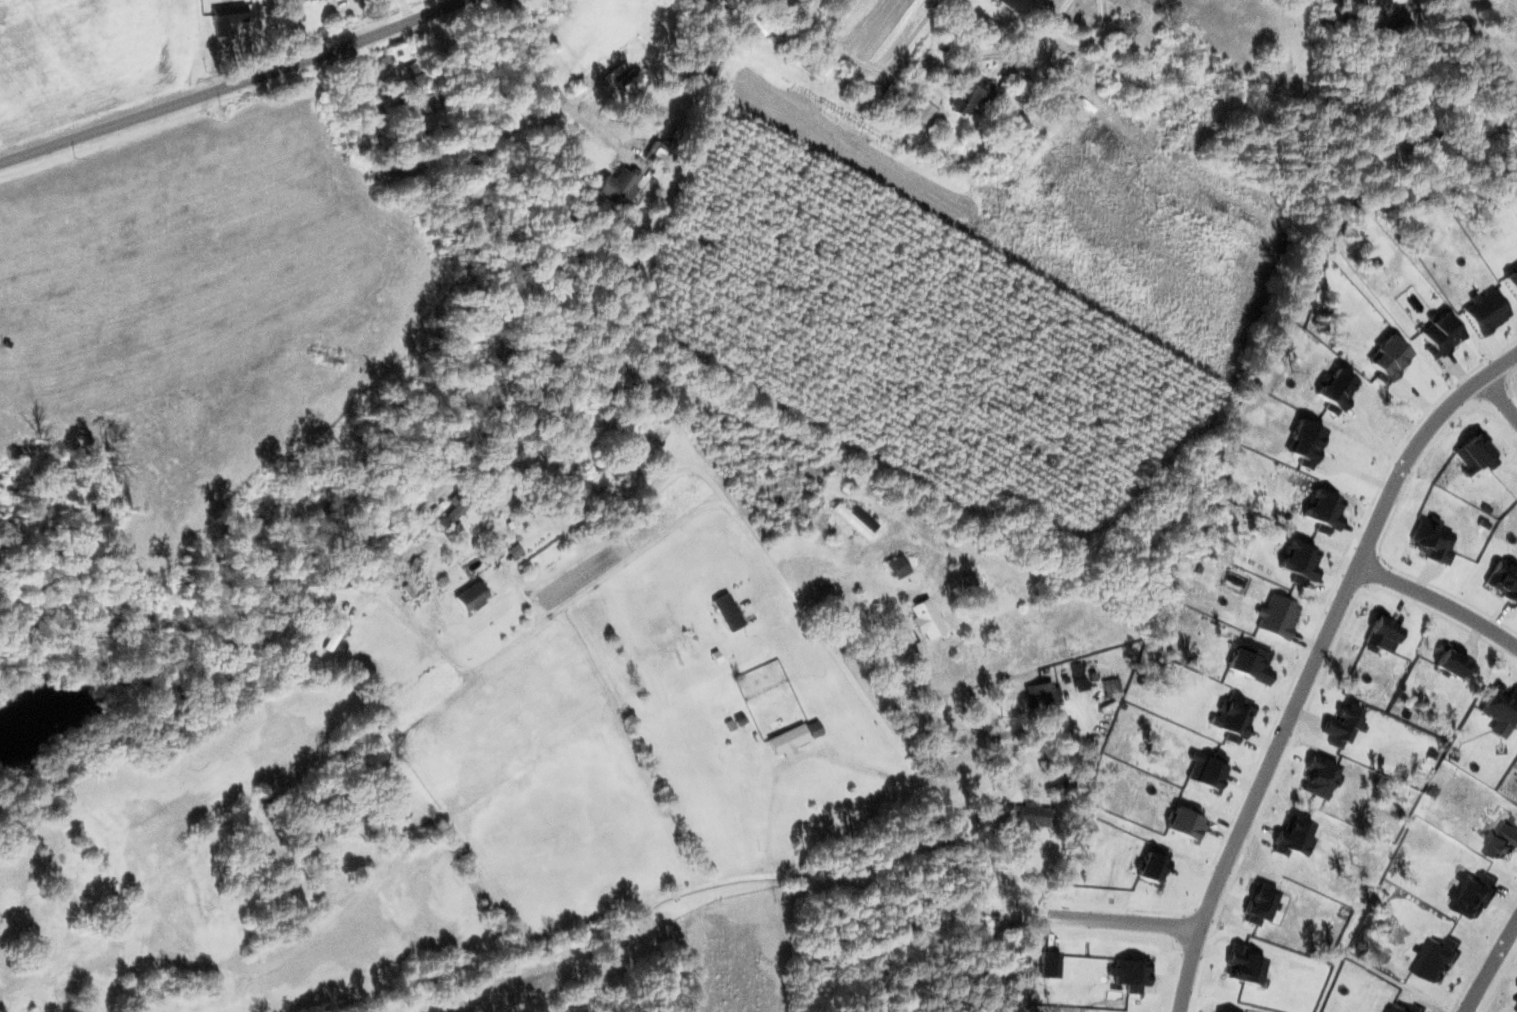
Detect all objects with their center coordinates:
building: (302, 0)
building: (1012, 4)
building: (227, 18)
road: (1480, 45)
road: (234, 88)
building: (893, 94)
building: (971, 95)
building: (657, 154)
building: (616, 186)
building: (1512, 282)
building: (1486, 311)
building: (1440, 335)
building: (1388, 359)
road: (1505, 385)
building: (1335, 390)
building: (1306, 442)
building: (1475, 453)
building: (450, 511)
building: (1324, 511)
building: (856, 519)
building: (1431, 539)
building: (514, 550)
building: (1300, 562)
building: (897, 566)
building: (1504, 578)
building: (470, 596)
road: (1440, 598)
building: (727, 612)
building: (1278, 616)
building: (925, 618)
building: (1381, 632)
building: (333, 634)
road: (837, 654)
building: (1250, 660)
building: (1147, 661)
road: (1315, 661)
building: (1453, 662)
building: (1077, 671)
building: (1041, 695)
building: (1500, 705)
building: (1233, 718)
building: (1343, 725)
building: (788, 740)
building: (1207, 770)
building: (1319, 777)
building: (1035, 816)
building: (1186, 822)
building: (1294, 836)
building: (1502, 837)
building: (1153, 865)
road: (750, 876)
building: (1471, 891)
building: (1260, 903)
building: (1433, 956)
road: (1487, 962)
building: (1049, 964)
building: (1243, 965)
building: (1130, 973)
building: (1516, 1005)
building: (1405, 1007)

